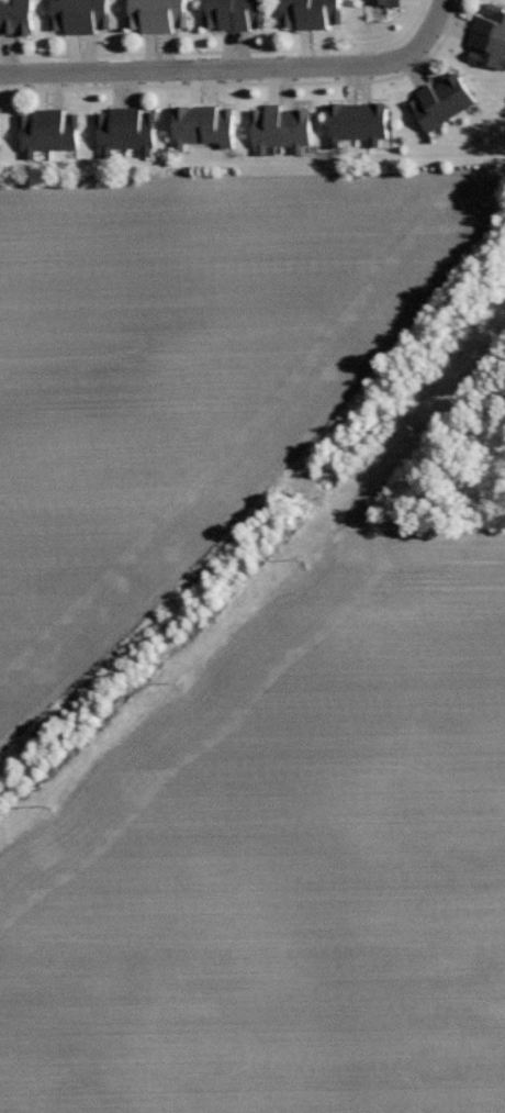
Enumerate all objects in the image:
building: (385, 2)
building: (234, 13)
building: (311, 13)
building: (81, 14)
building: (157, 14)
building: (15, 18)
building: (490, 36)
road: (236, 68)
building: (441, 101)
building: (357, 121)
building: (204, 124)
building: (280, 127)
building: (126, 129)
building: (49, 130)
building: (0, 136)
railway: (263, 534)

